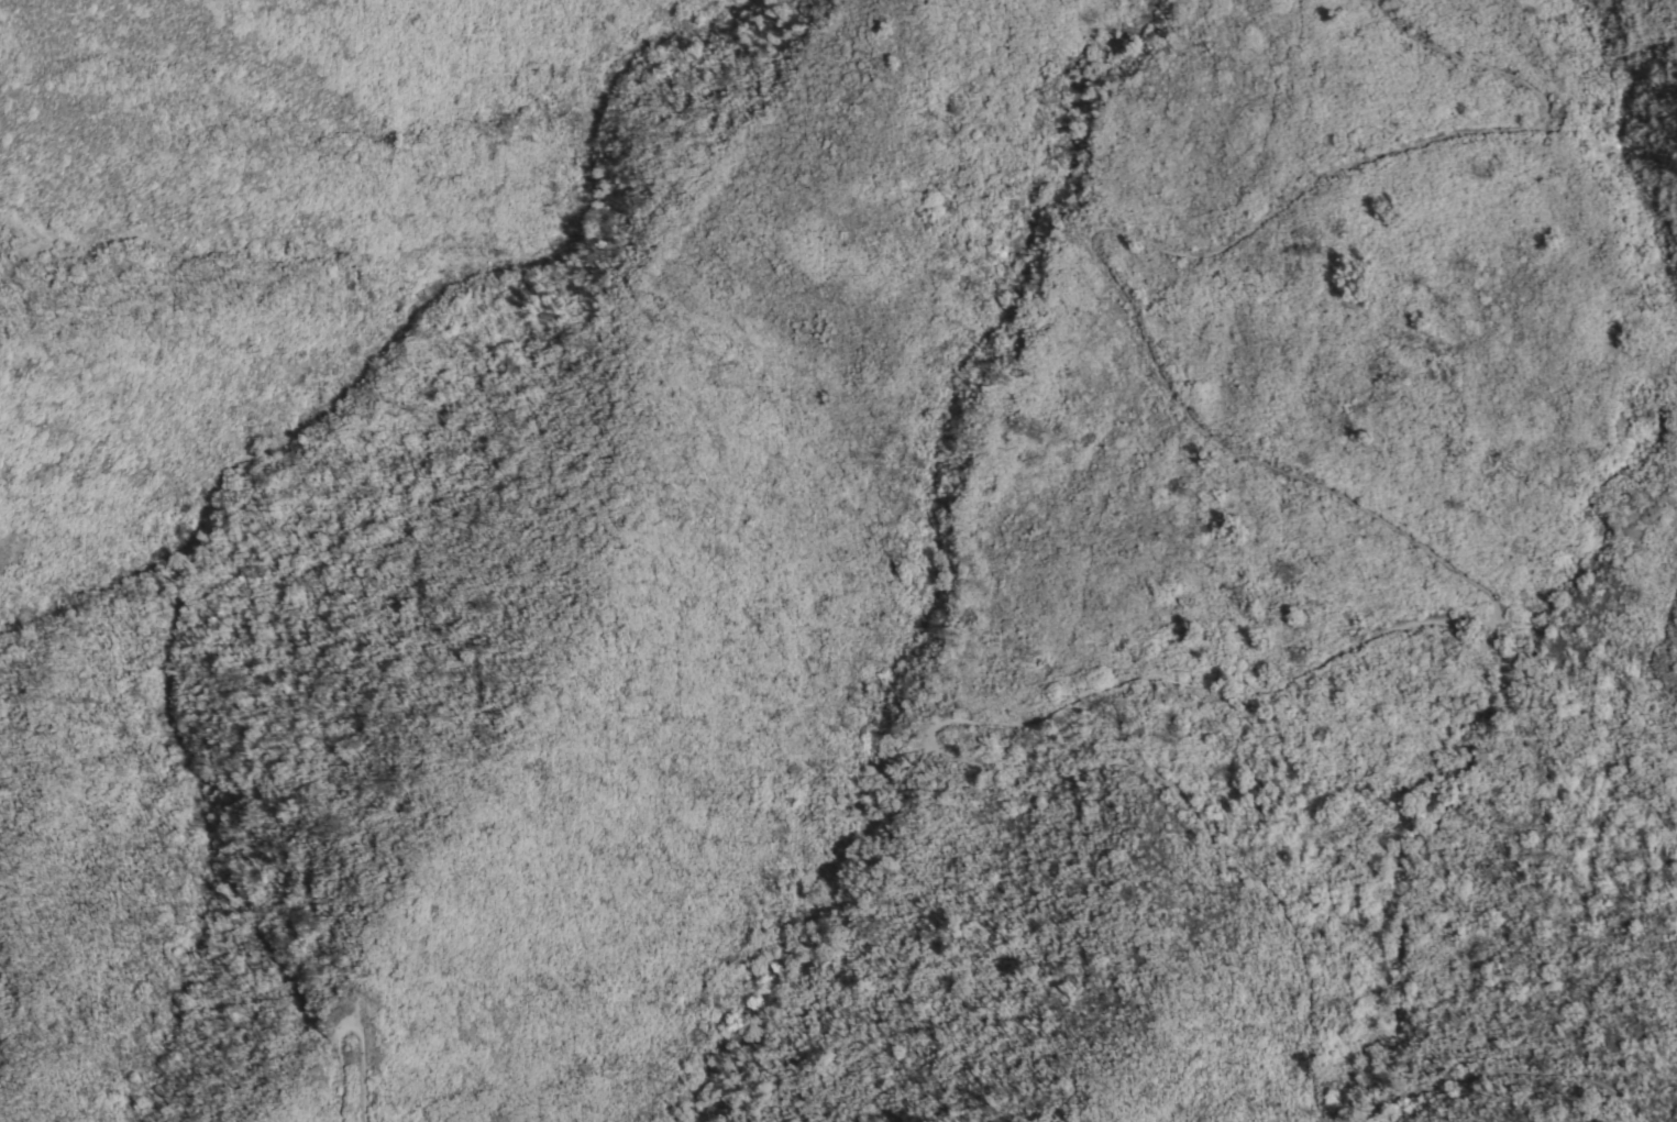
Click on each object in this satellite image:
road: (1494, 597)
road: (346, 1016)
road: (1510, 1067)

